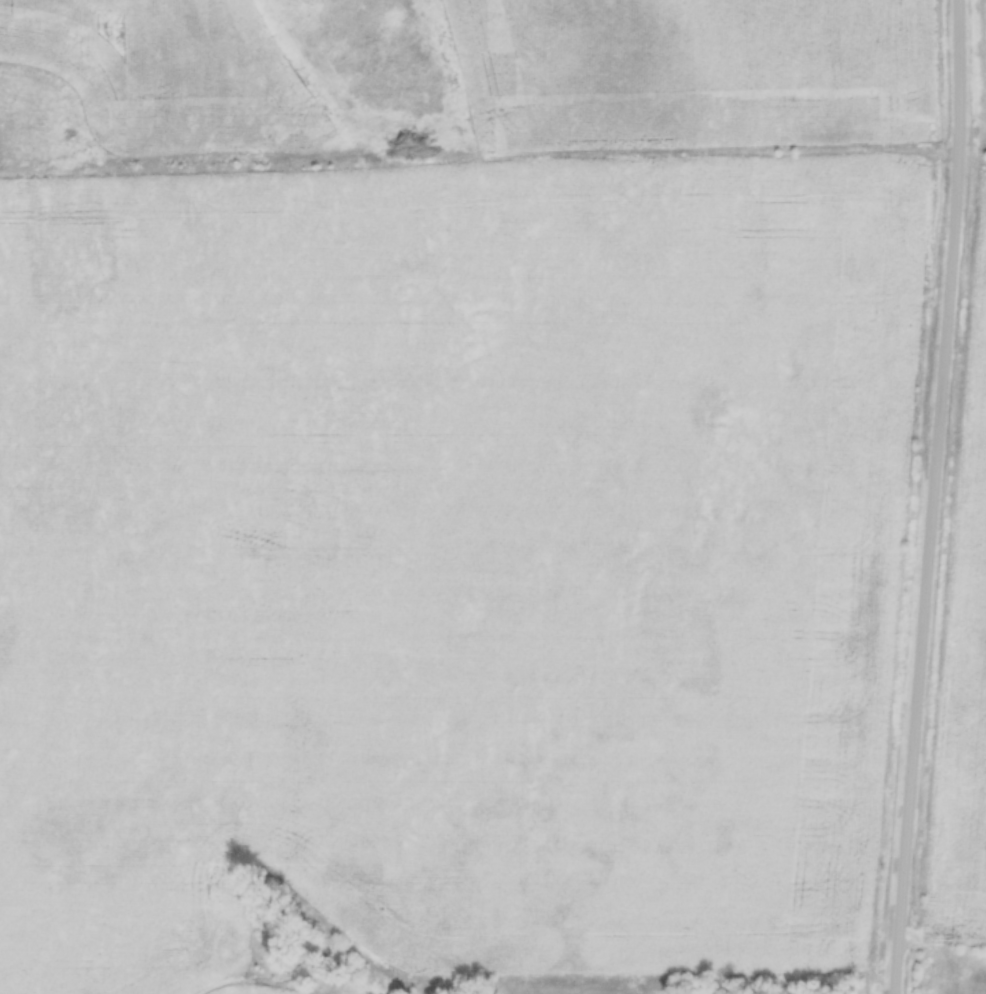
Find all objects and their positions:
road: (932, 497)

